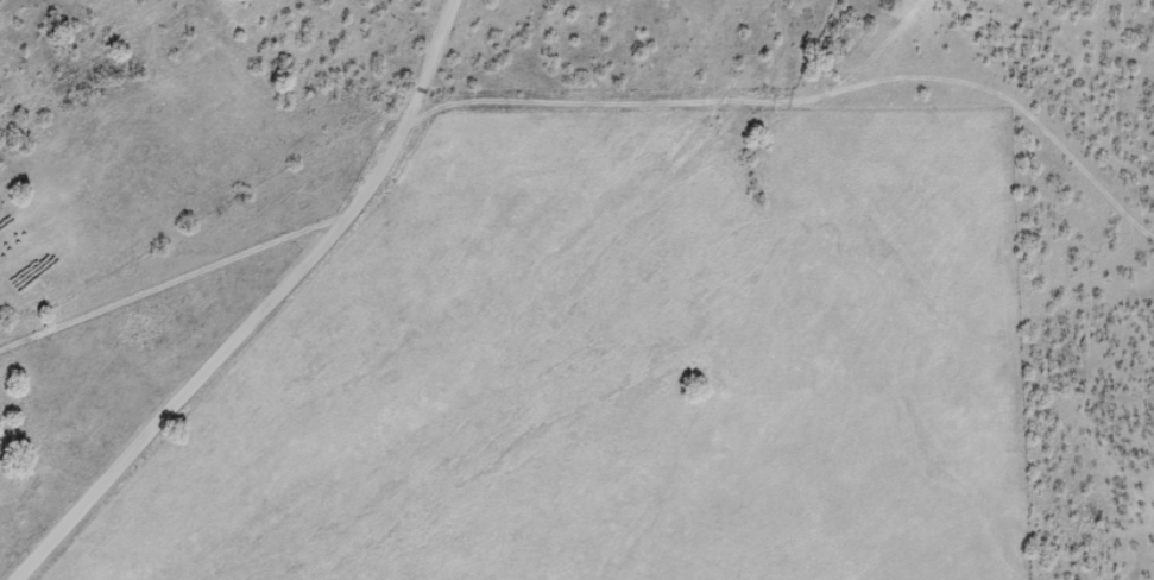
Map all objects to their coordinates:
road: (275, 303)

